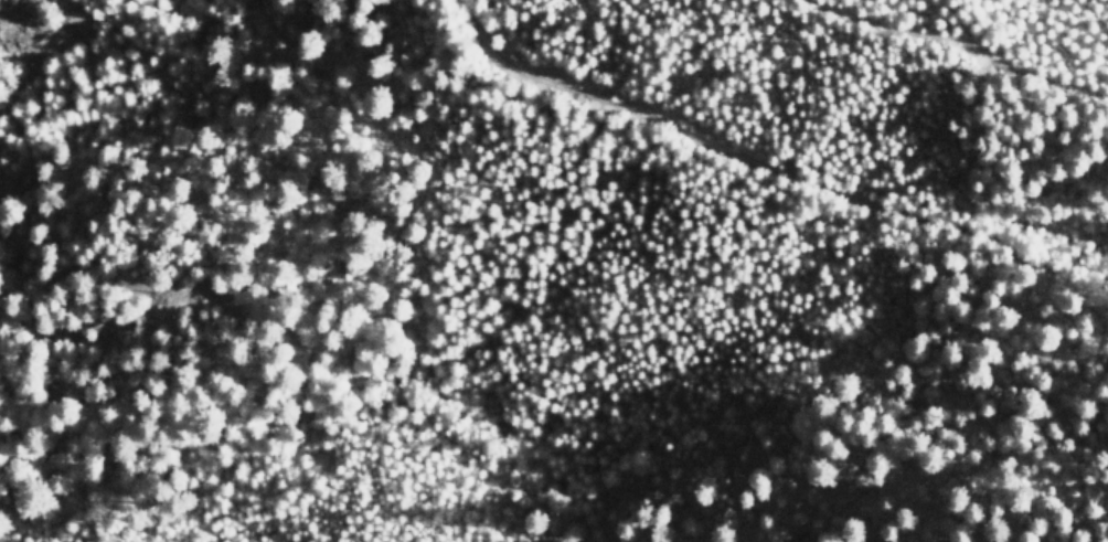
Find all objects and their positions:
road: (869, 115)

